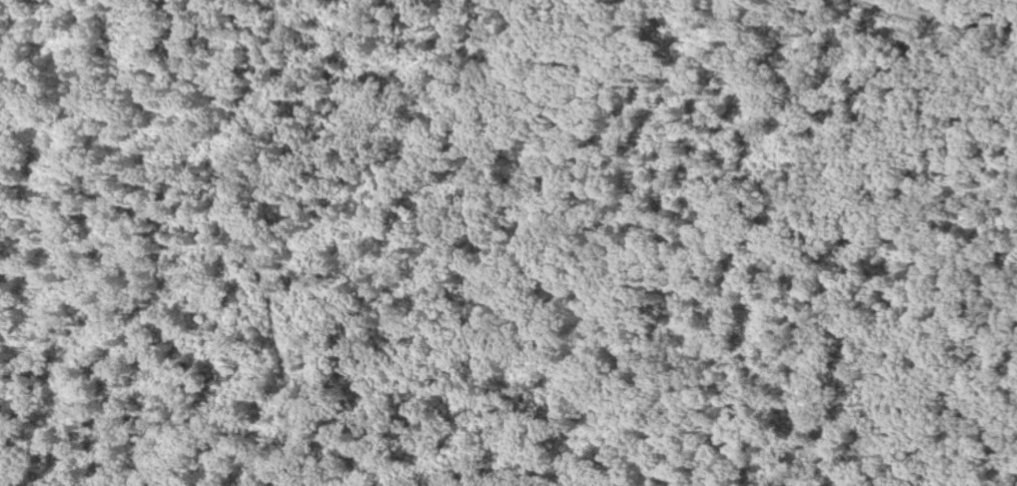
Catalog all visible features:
road: (938, 29)

